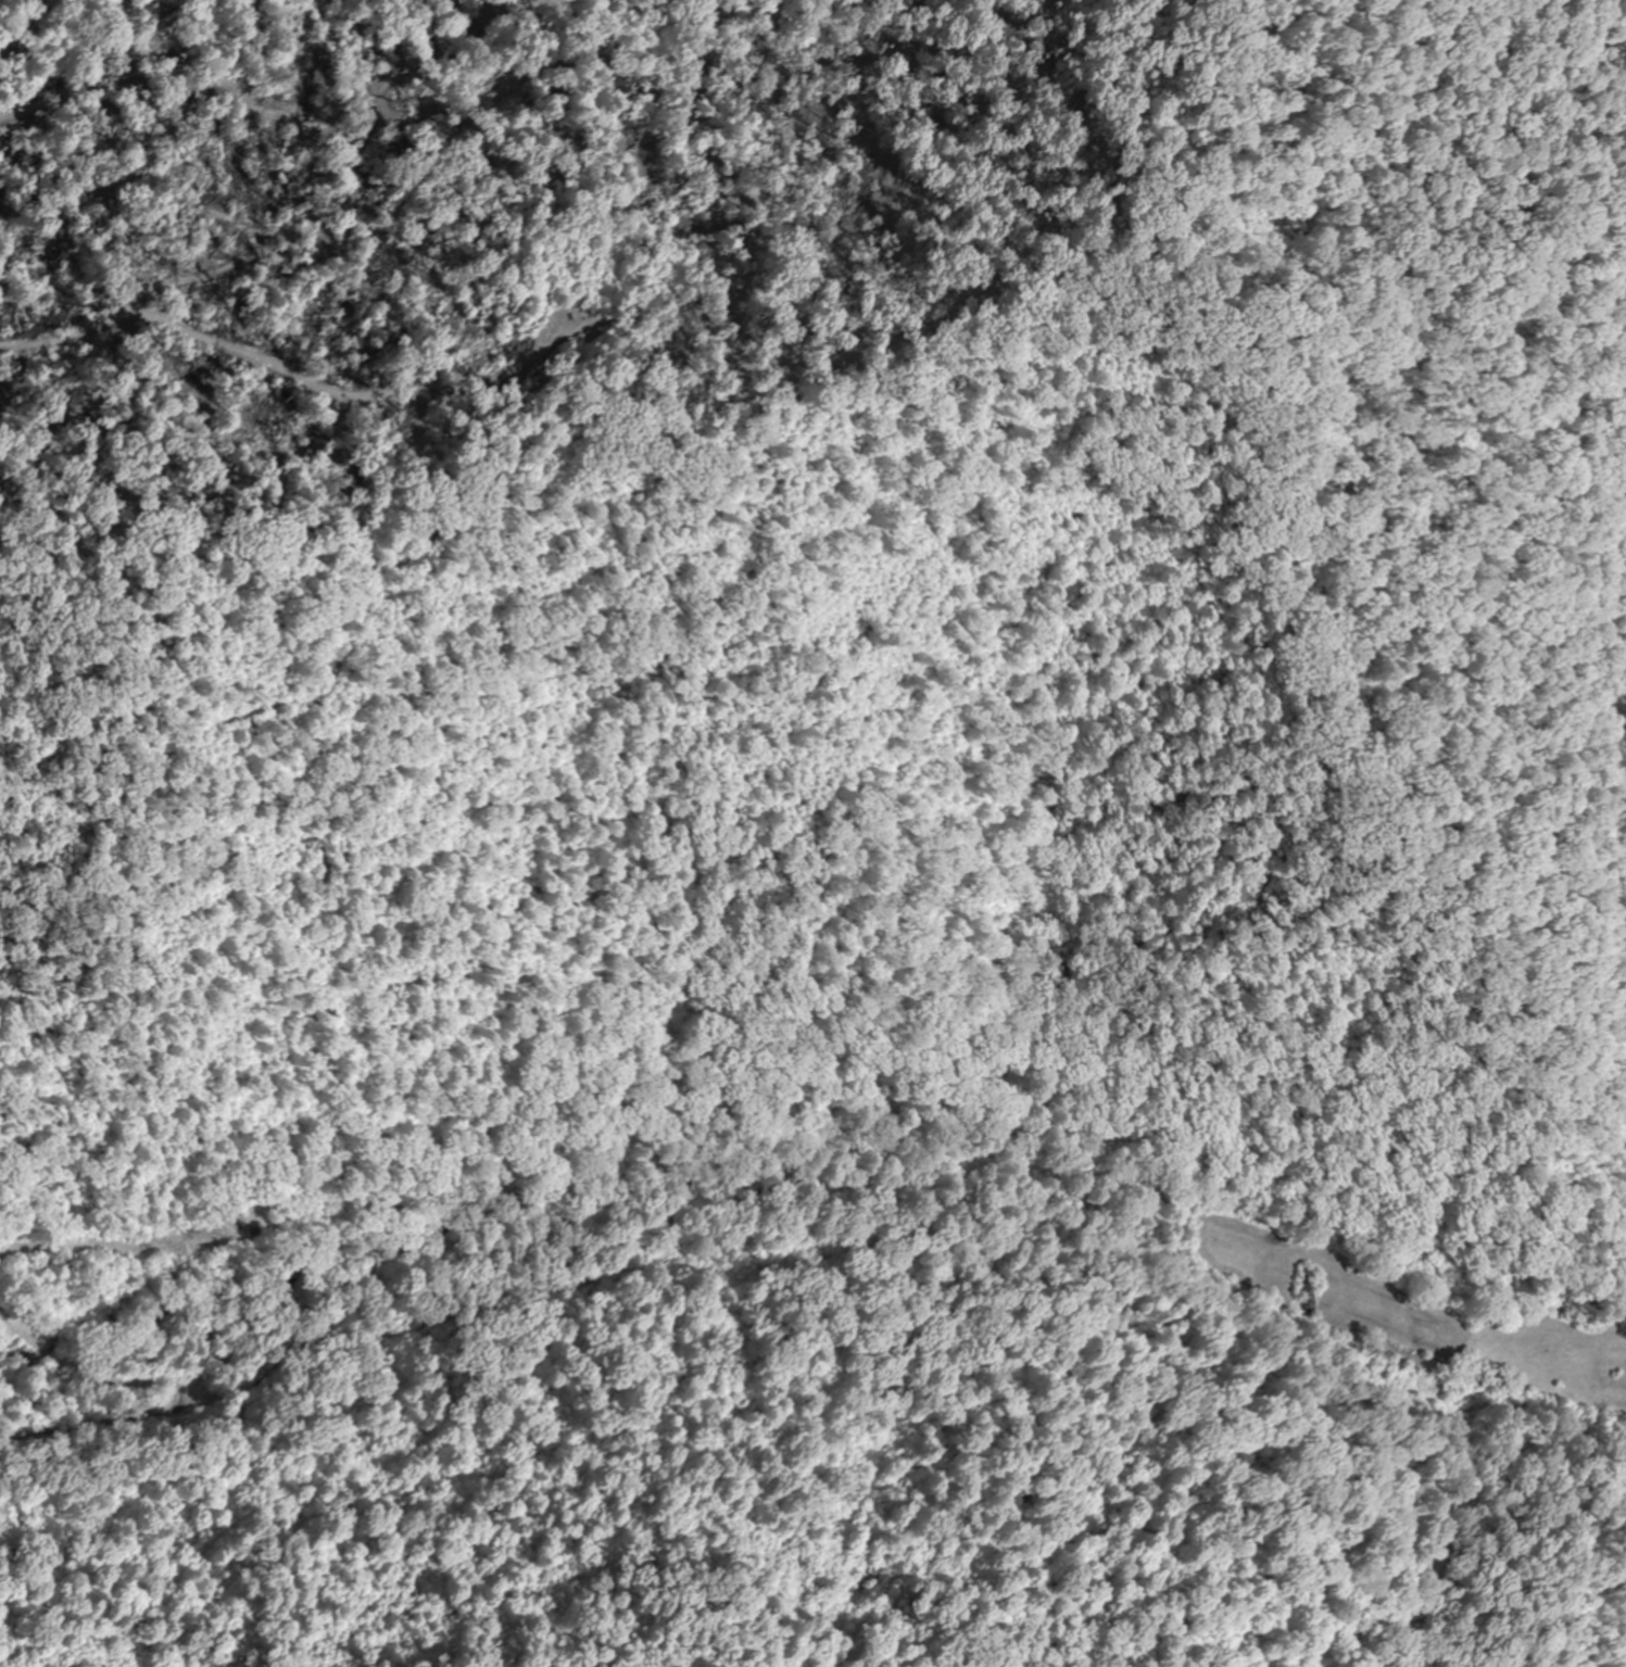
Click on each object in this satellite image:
building: (1307, 1291)

